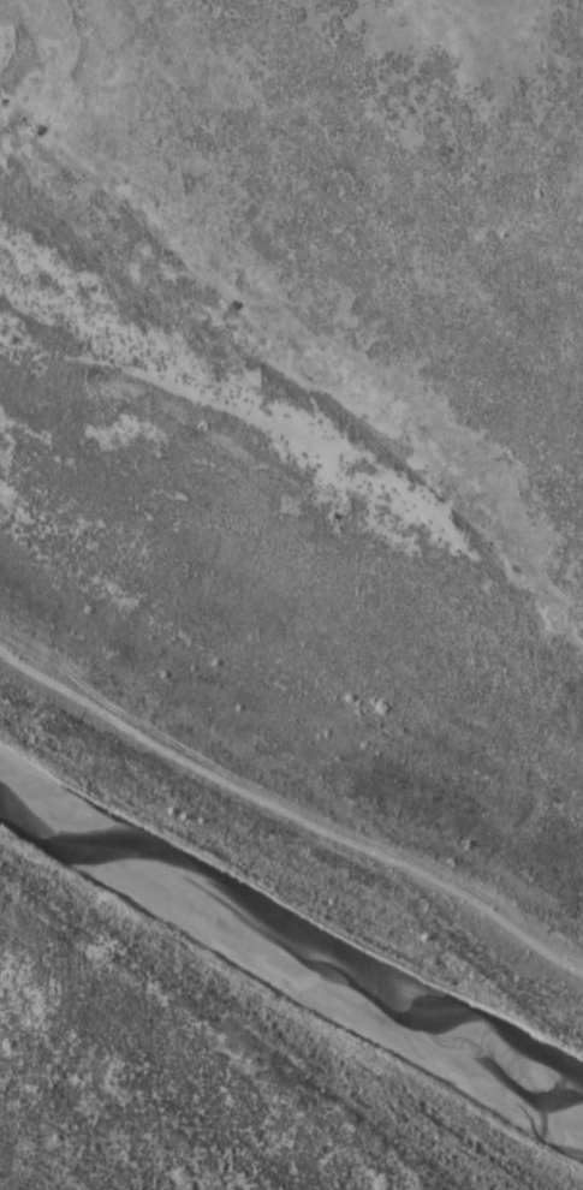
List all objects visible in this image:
river: (293, 945)

